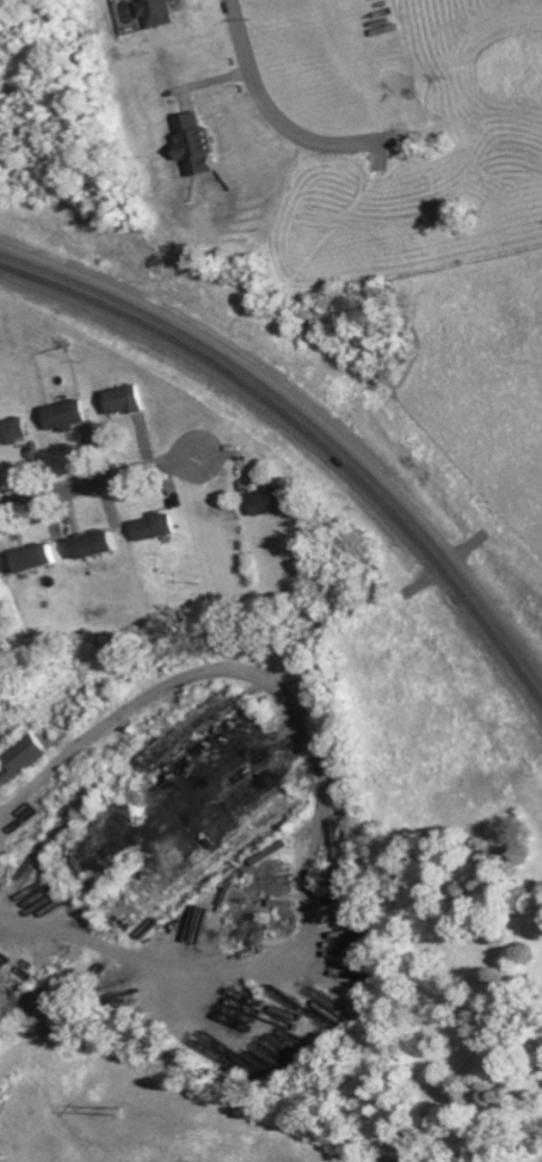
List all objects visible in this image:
building: (159, 12)
road: (275, 111)
building: (196, 145)
building: (124, 400)
building: (66, 416)
road: (310, 429)
building: (13, 430)
road: (97, 482)
building: (270, 501)
building: (155, 526)
building: (97, 545)
building: (36, 559)
building: (24, 759)
road: (35, 877)

